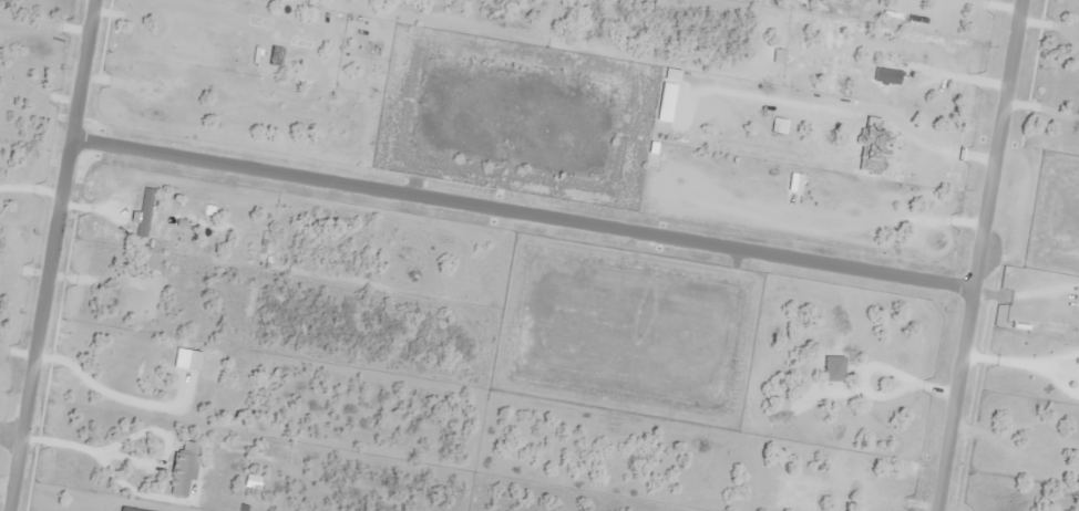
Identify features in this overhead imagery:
road: (522, 211)
road: (51, 254)
road: (978, 255)

